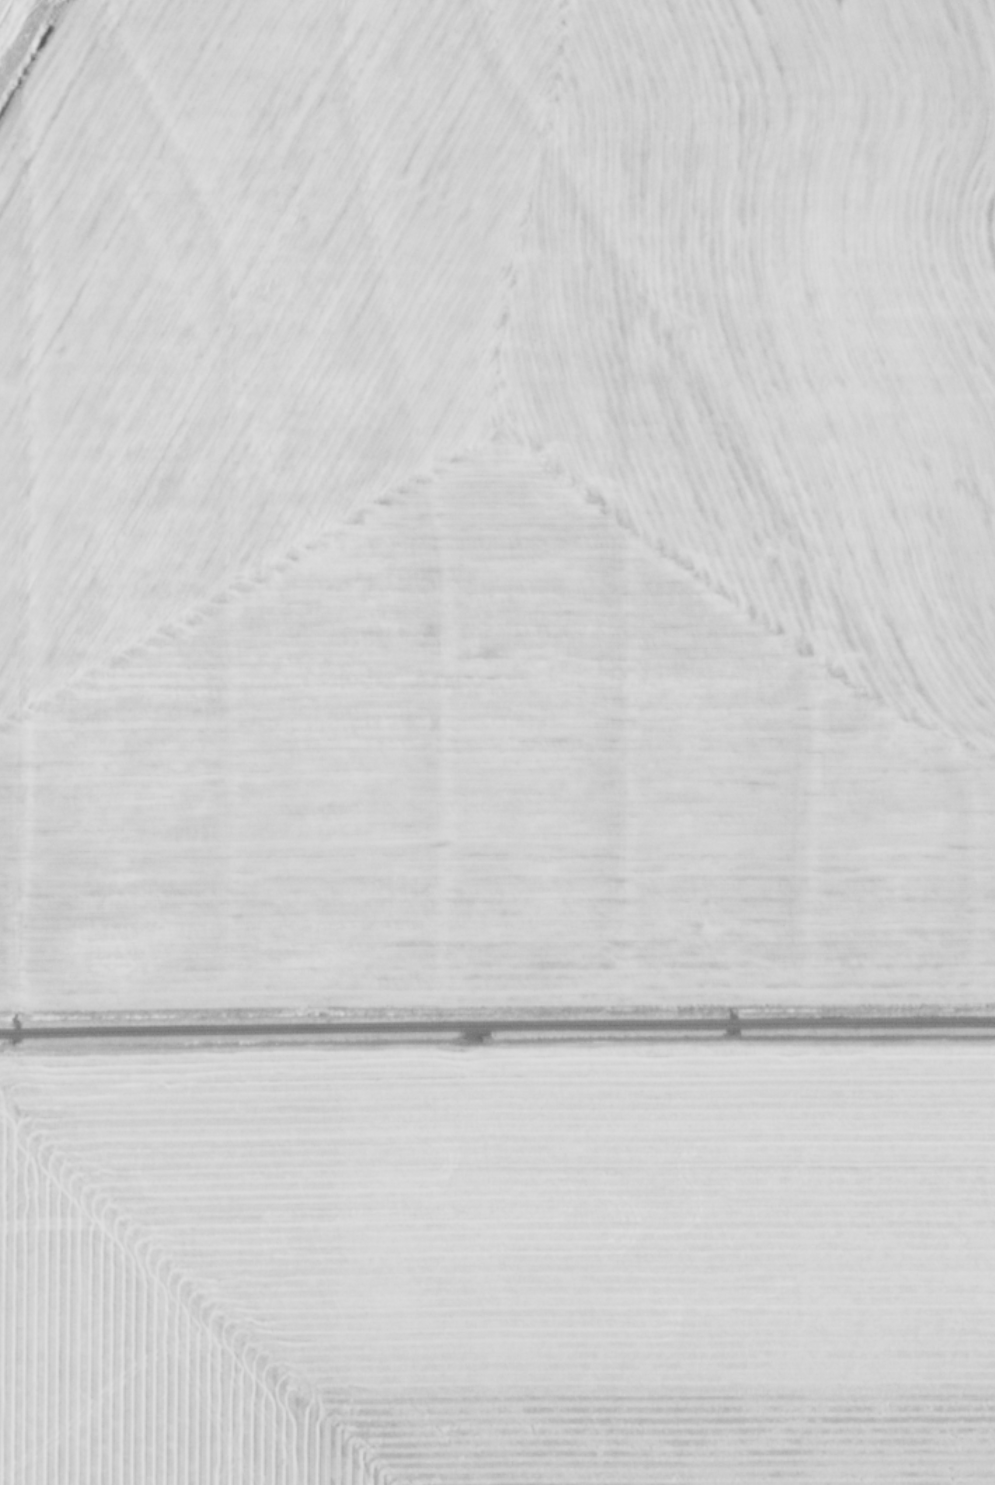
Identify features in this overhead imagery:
crop: (497, 742)
road: (497, 1024)

